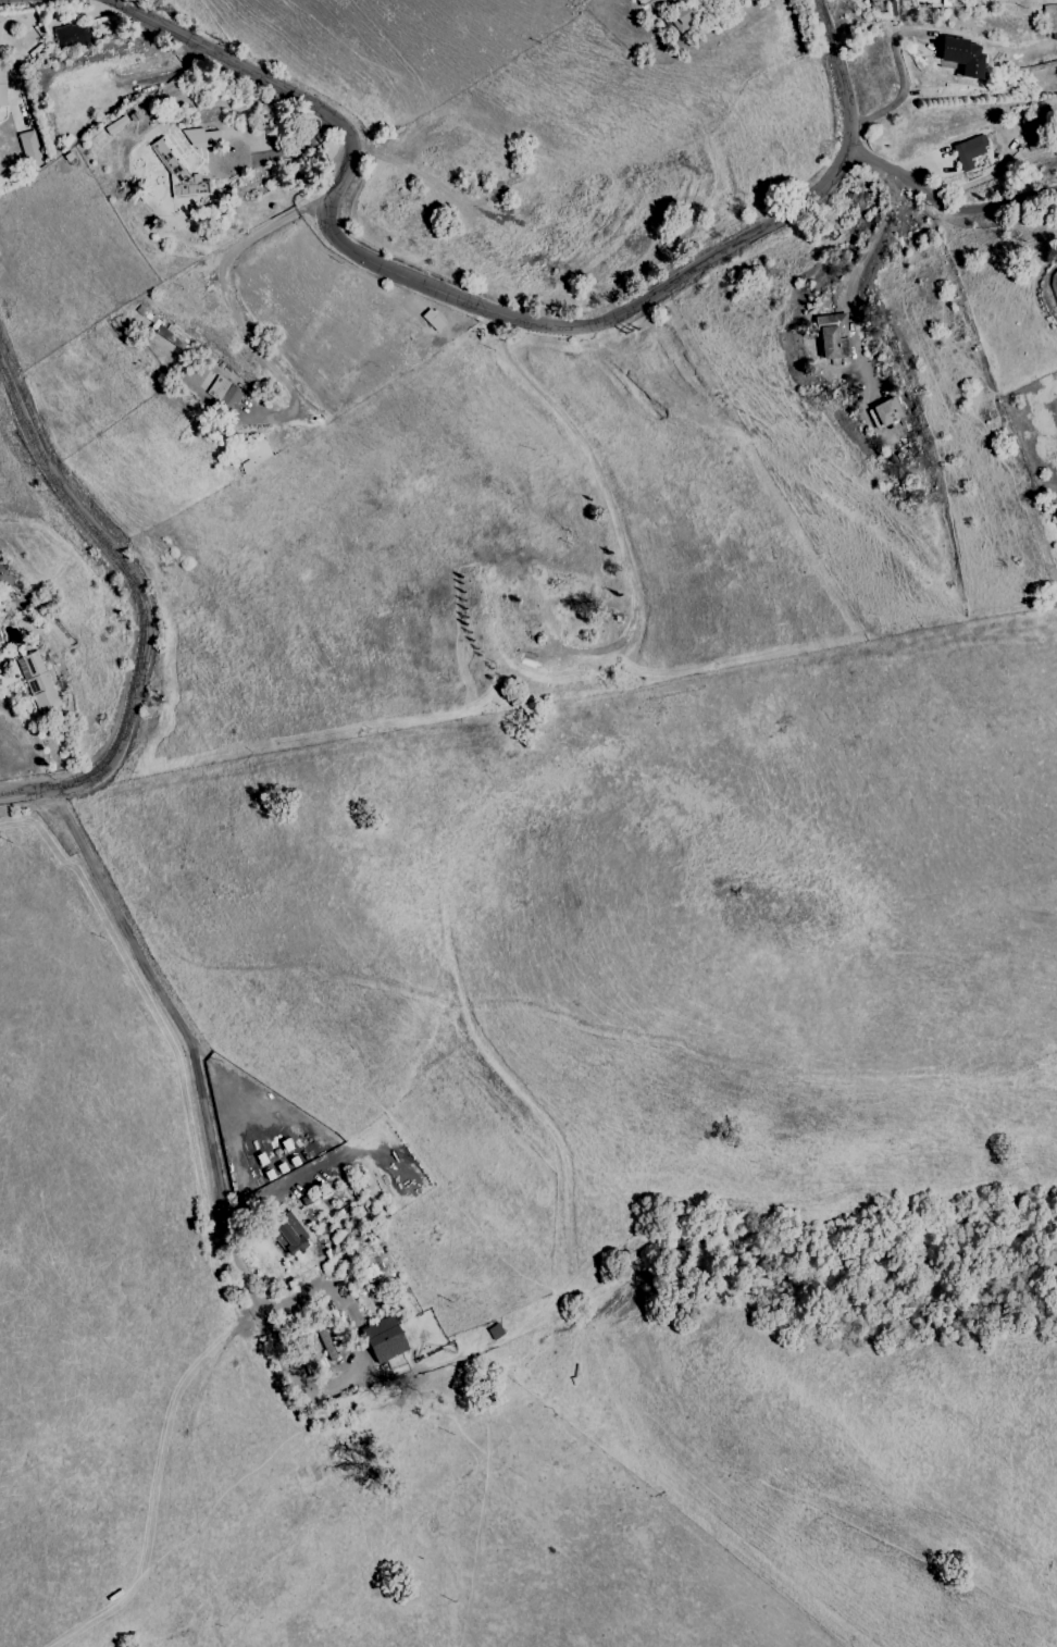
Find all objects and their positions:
building: (873, 1)
building: (682, 17)
building: (1, 22)
building: (71, 35)
building: (961, 55)
building: (2, 82)
road: (901, 88)
building: (201, 138)
building: (29, 149)
building: (971, 153)
building: (177, 171)
road: (945, 206)
road: (854, 275)
road: (228, 305)
road: (494, 312)
building: (171, 335)
building: (831, 336)
building: (224, 393)
building: (884, 413)
building: (907, 451)
road: (606, 494)
building: (5, 579)
road: (141, 606)
building: (50, 622)
building: (0, 640)
building: (38, 682)
road: (165, 1003)
building: (287, 1235)
road: (315, 1291)
building: (384, 1339)
building: (309, 1360)
road: (298, 1382)
road: (158, 1447)

